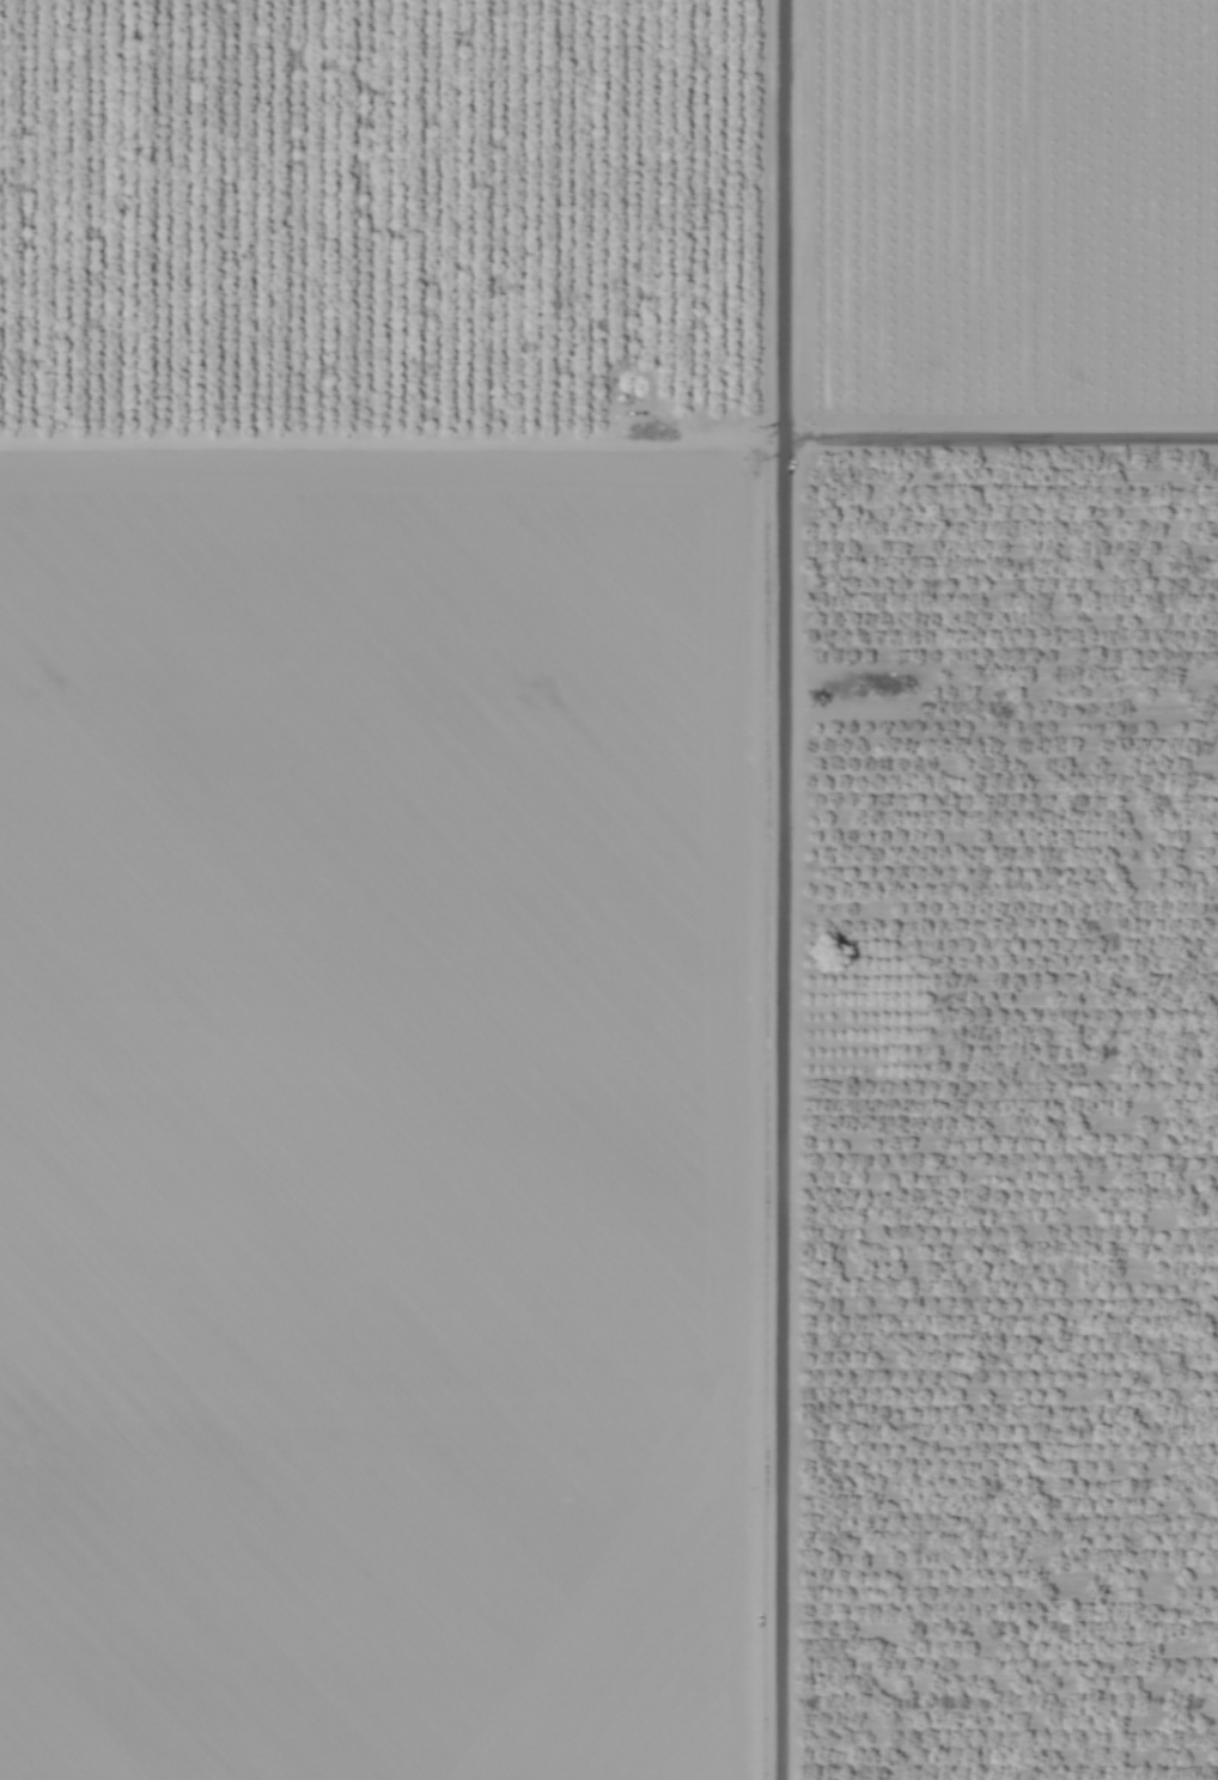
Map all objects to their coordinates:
road: (392, 439)
road: (1001, 439)
crop: (384, 889)
road: (784, 889)
crop: (1011, 1121)

